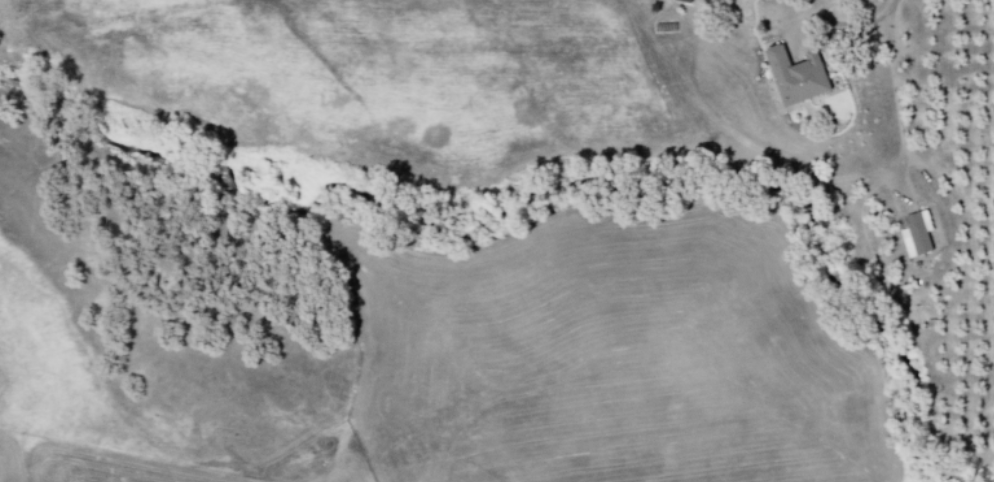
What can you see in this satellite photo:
building: (679, 1)
road: (850, 22)
building: (791, 75)
building: (912, 234)

